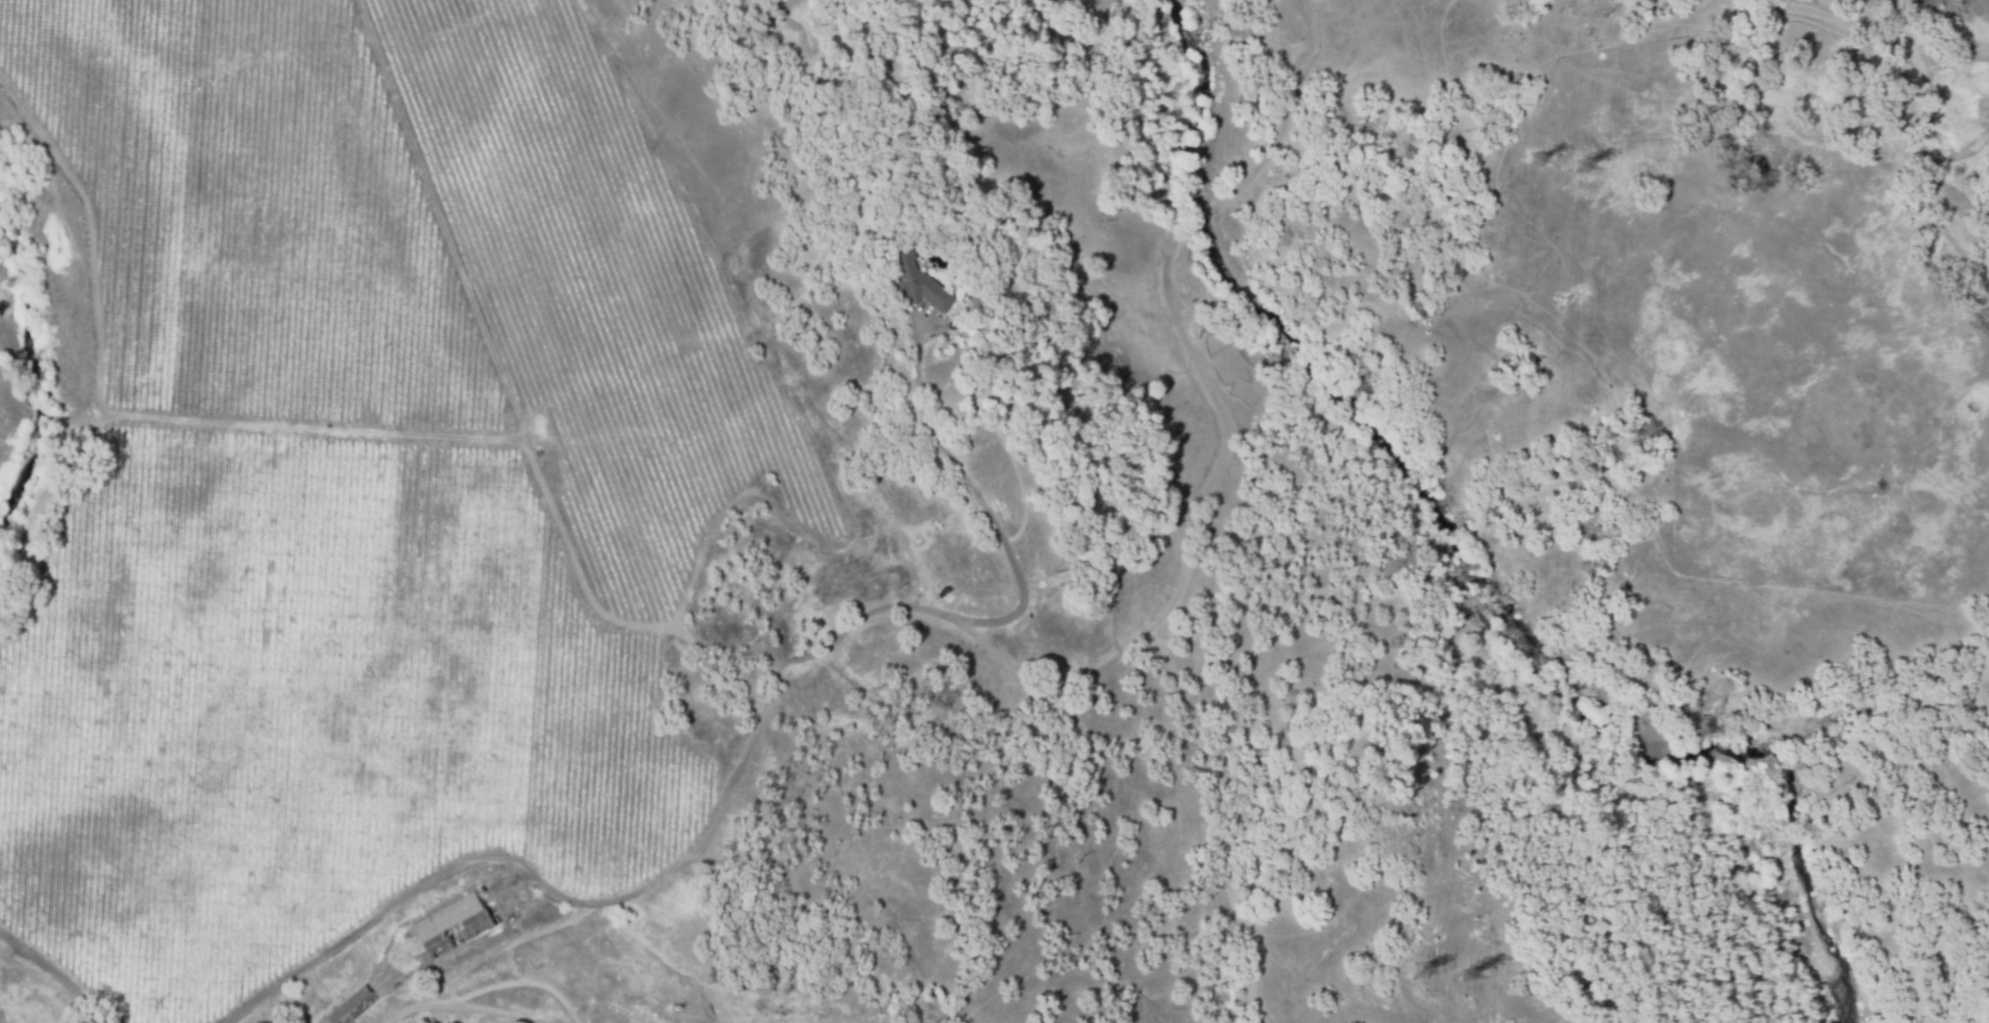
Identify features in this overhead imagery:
power tower: (1537, 164)
power tower: (1581, 173)
building: (914, 278)
road: (979, 495)
road: (643, 890)
building: (455, 924)
road: (477, 960)
power tower: (1421, 973)
road: (54, 977)
power tower: (1465, 978)
building: (351, 1007)

